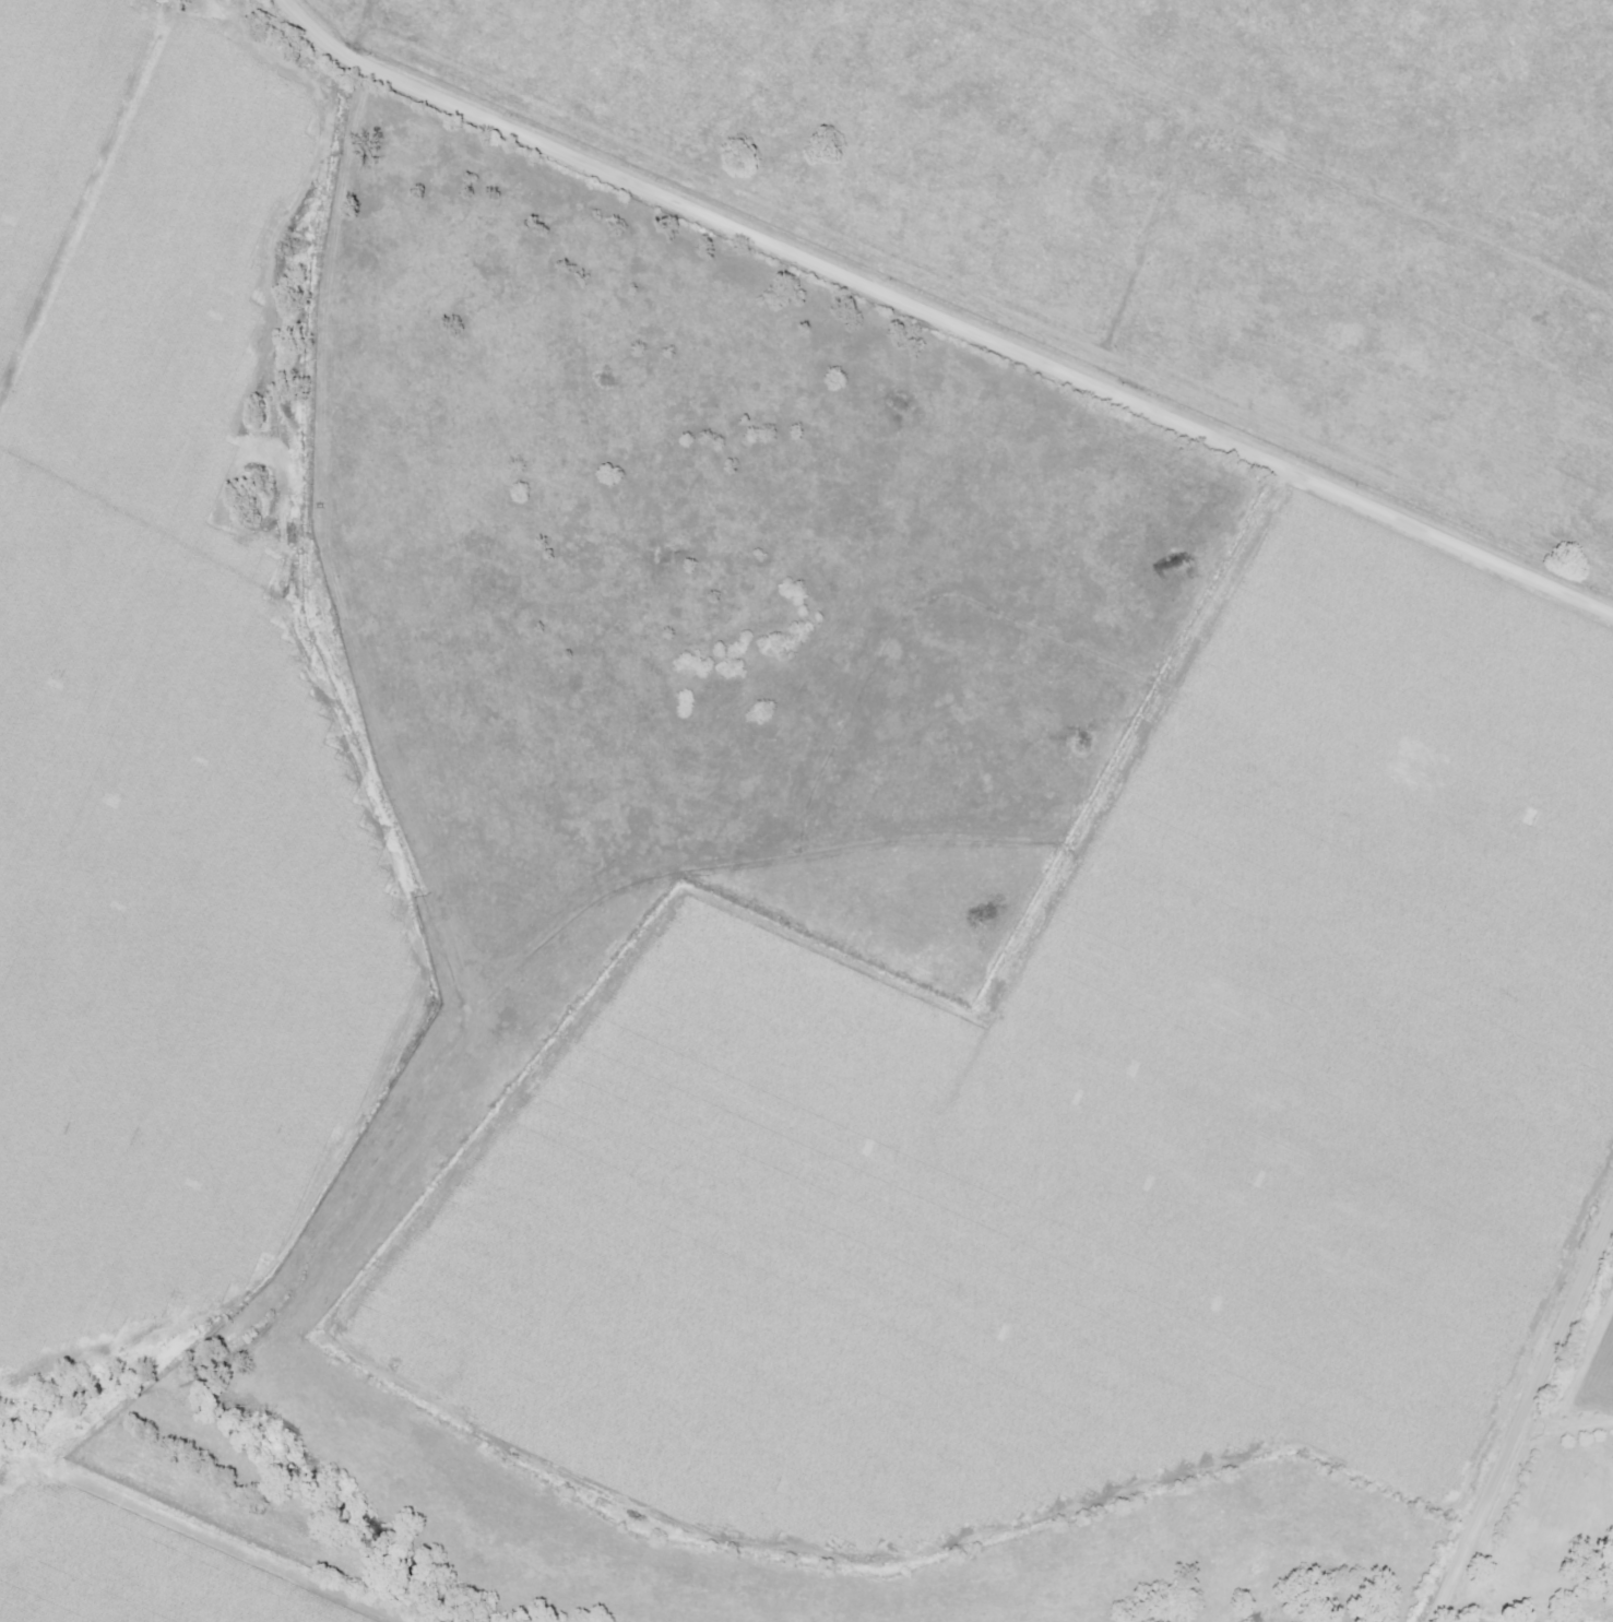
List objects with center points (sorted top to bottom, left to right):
road: (944, 316)
road: (1521, 1412)

